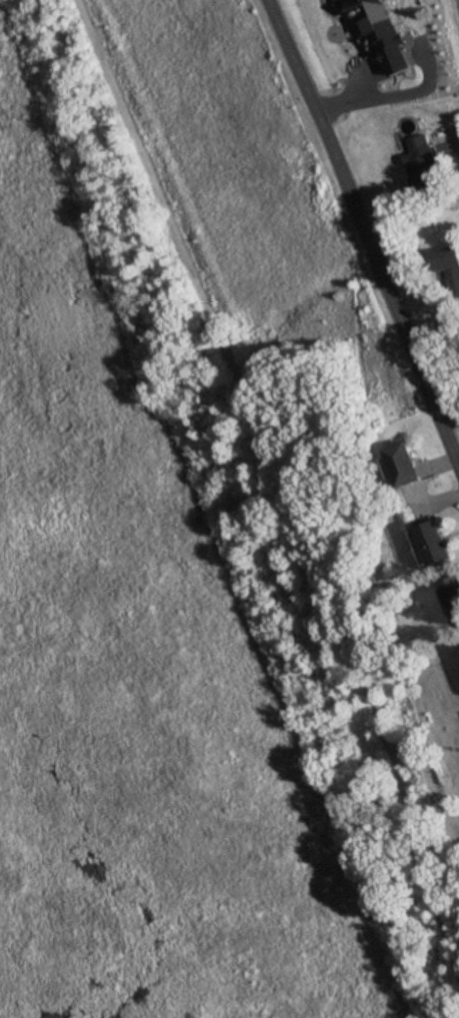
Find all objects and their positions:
building: (405, 49)
building: (424, 166)
road: (365, 233)
building: (447, 264)
building: (406, 464)
road: (276, 487)
building: (437, 543)
building: (453, 595)

